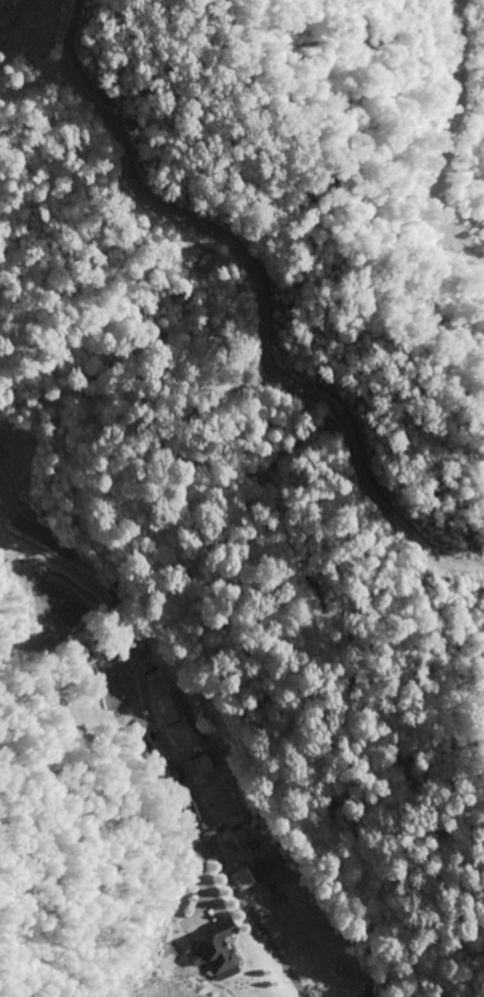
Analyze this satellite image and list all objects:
road: (175, 707)
building: (174, 709)
building: (205, 765)
road: (305, 962)
road: (326, 987)

